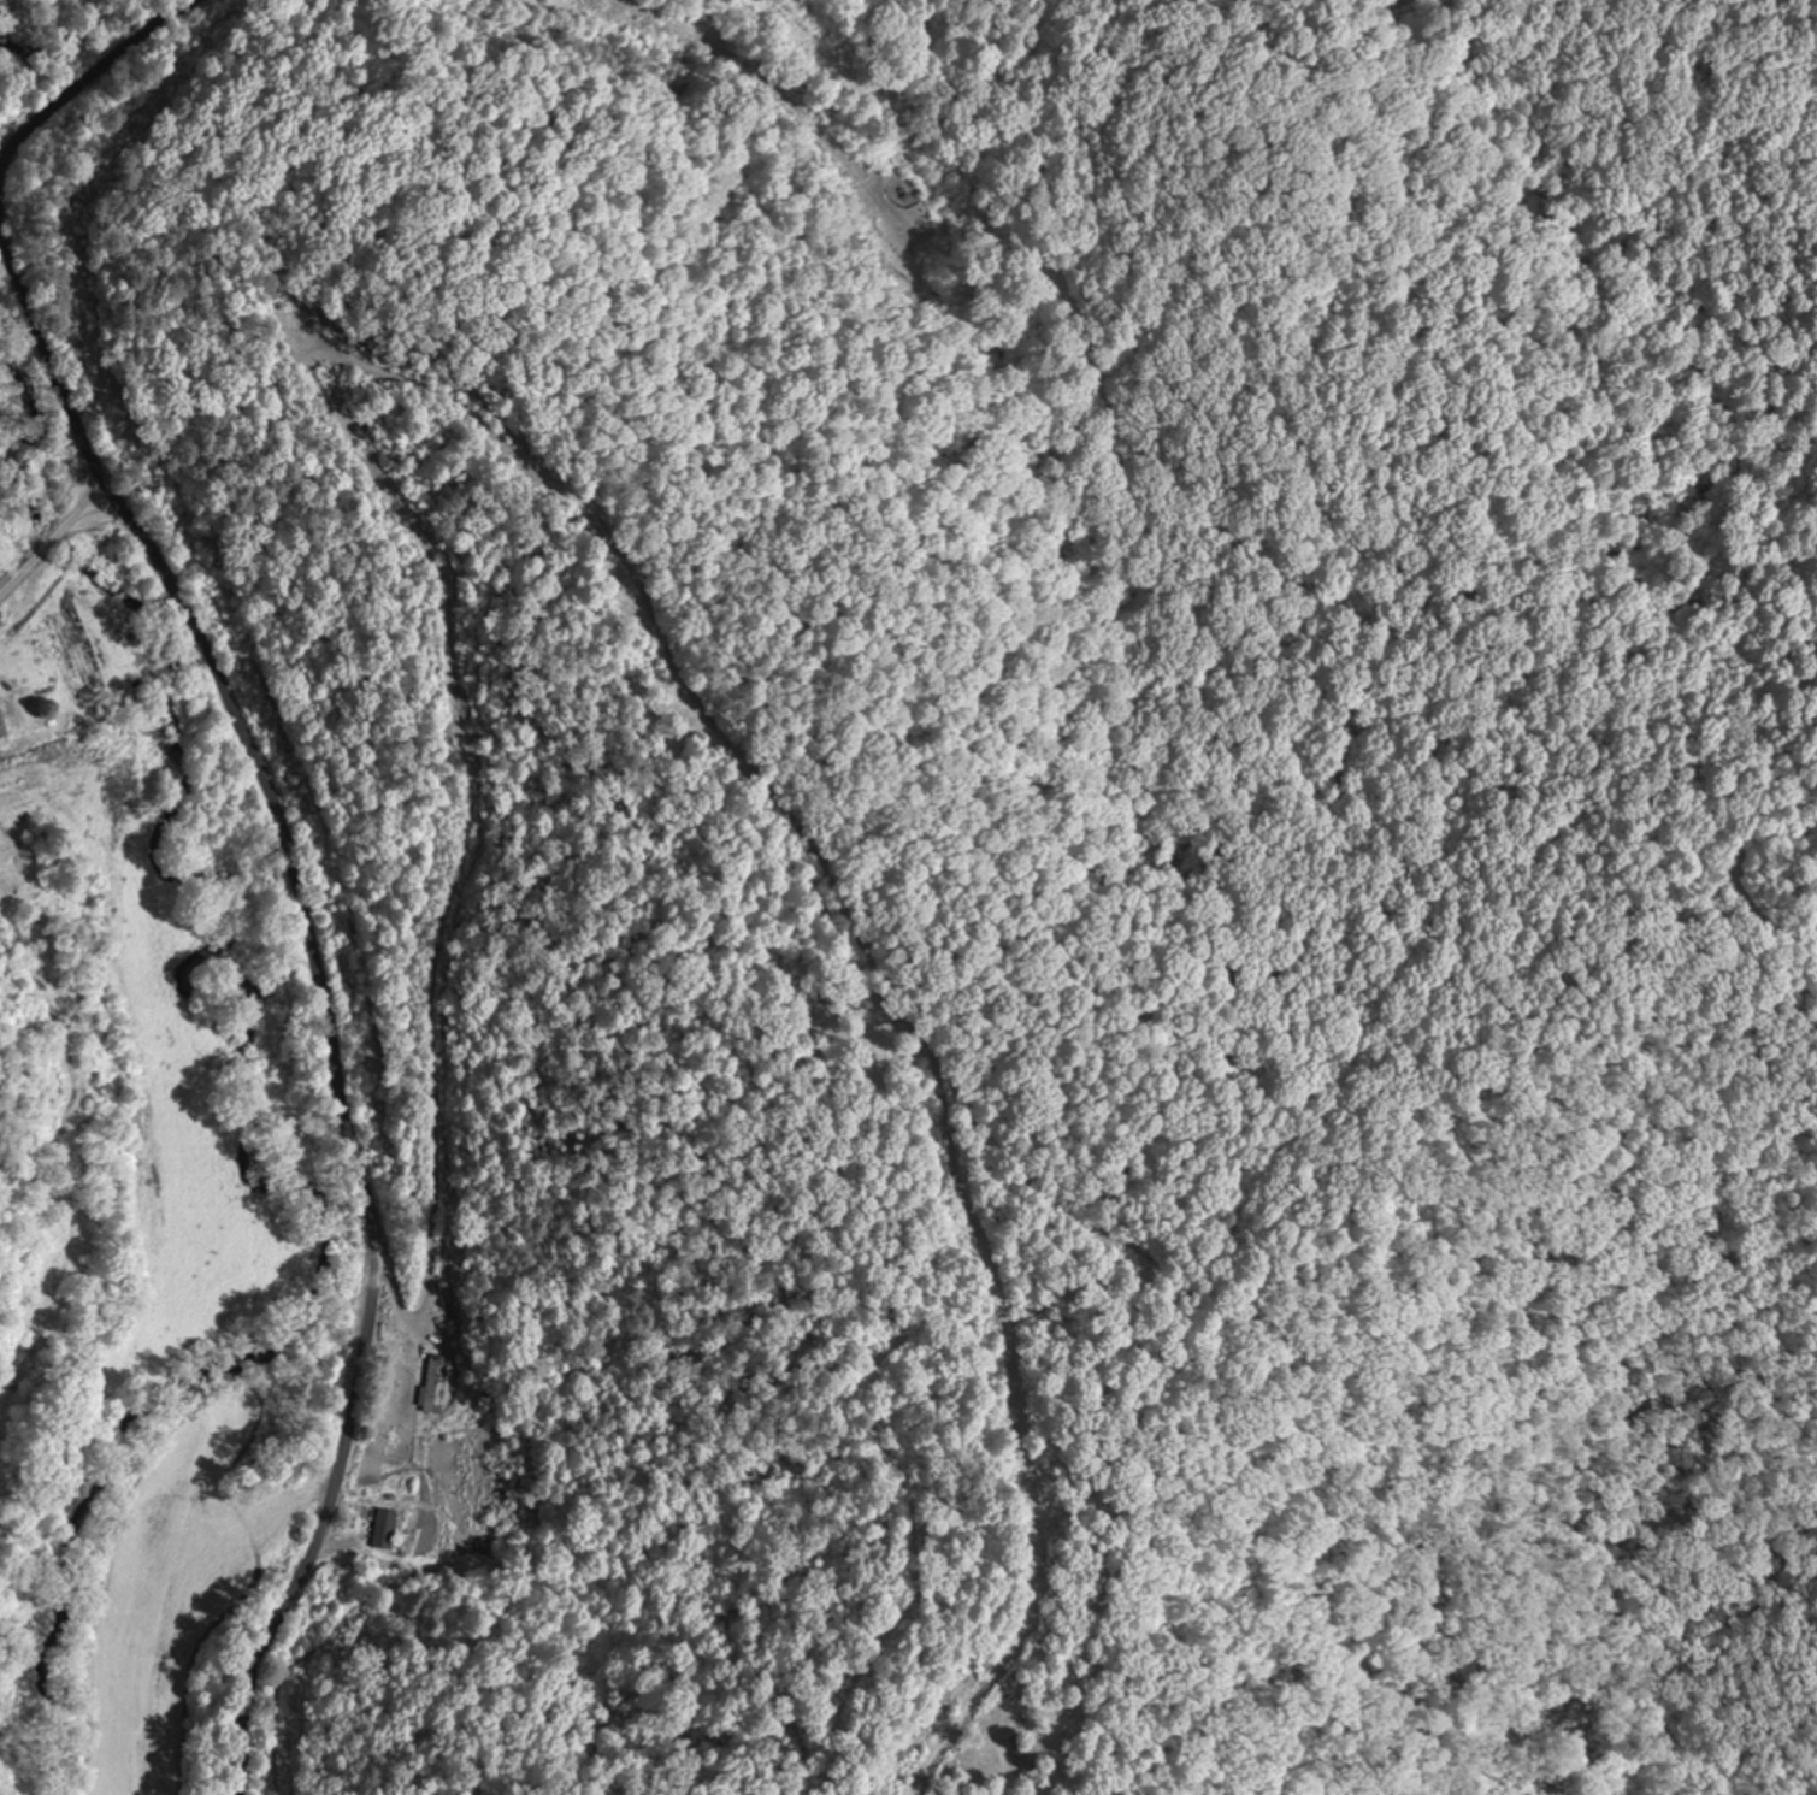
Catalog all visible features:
road: (90, 73)
road: (318, 991)
building: (432, 1383)
building: (406, 1527)
building: (382, 1529)
building: (484, 1546)
building: (1015, 1754)

